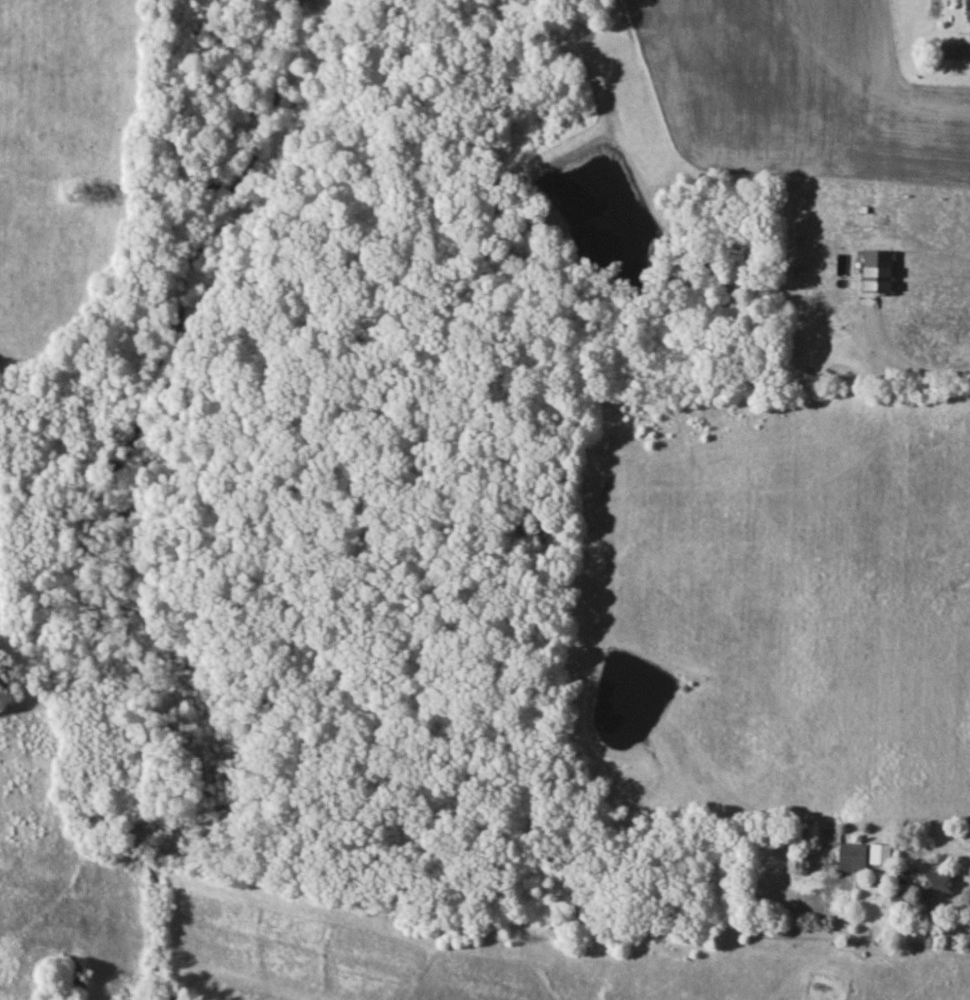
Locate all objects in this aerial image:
building: (955, 52)
road: (908, 366)
building: (535, 537)
building: (859, 857)
building: (934, 885)
road: (900, 932)

